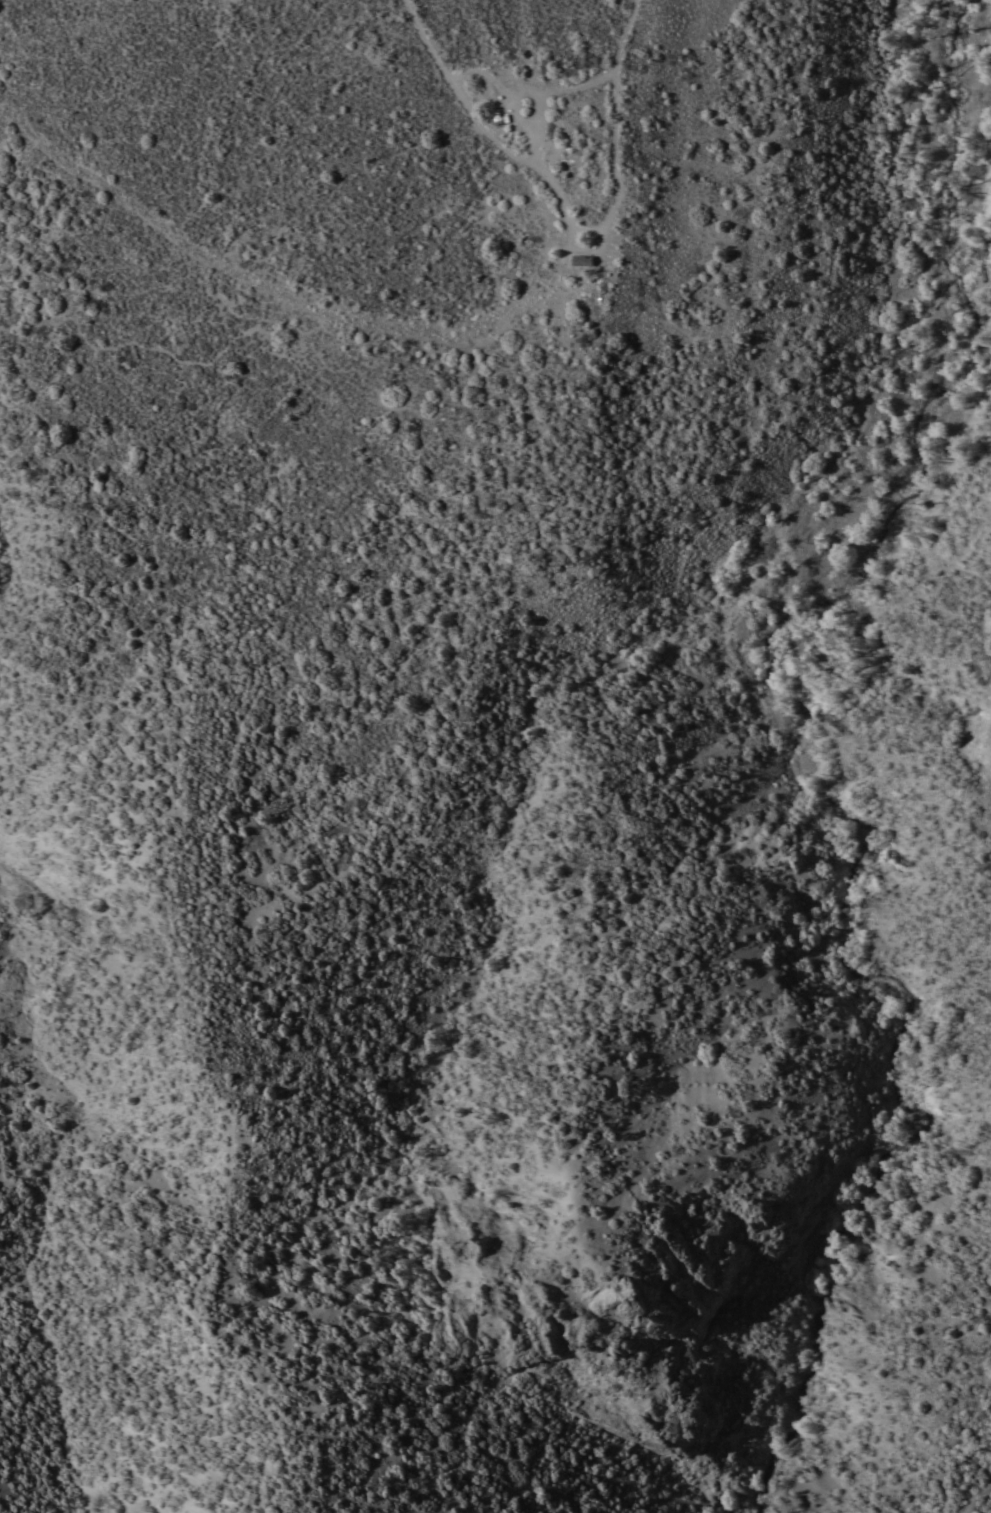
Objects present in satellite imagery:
road: (616, 122)
road: (478, 125)

